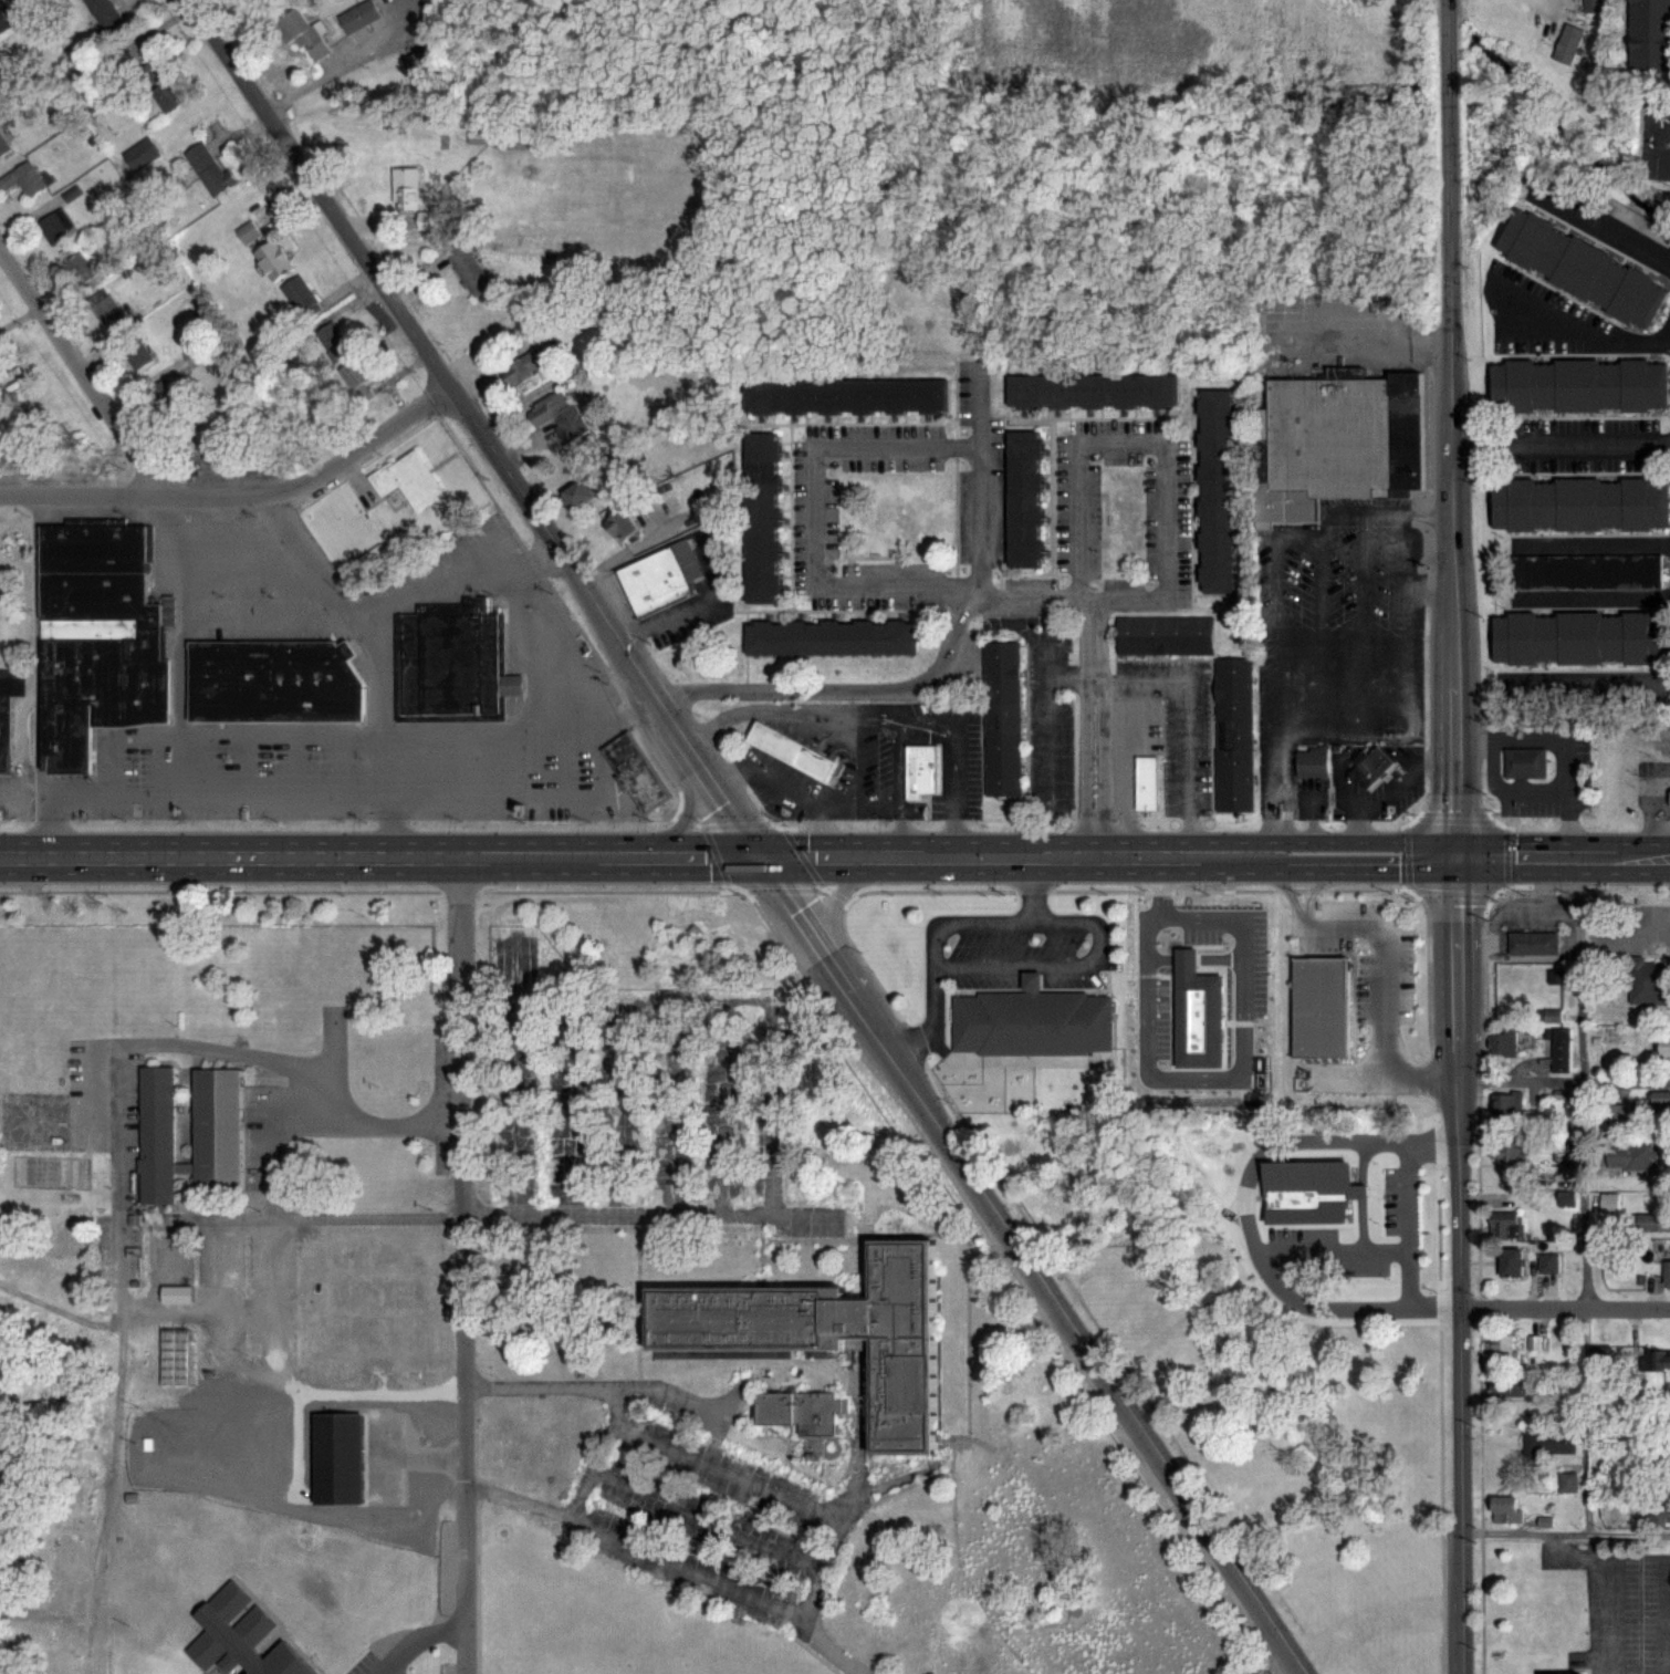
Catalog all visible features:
building: (1595, 6)
building: (100, 13)
building: (359, 17)
building: (3, 22)
building: (304, 33)
building: (1651, 35)
building: (1568, 44)
building: (421, 63)
road: (319, 81)
building: (171, 97)
building: (4, 144)
building: (211, 171)
building: (24, 180)
building: (411, 197)
road: (1449, 220)
building: (56, 227)
road: (1605, 230)
road: (359, 258)
building: (274, 261)
building: (1580, 267)
building: (470, 270)
building: (84, 271)
building: (302, 299)
building: (108, 311)
road: (1578, 325)
building: (334, 341)
road: (1379, 344)
building: (137, 355)
road: (81, 374)
building: (356, 375)
building: (1578, 385)
building: (1092, 389)
building: (167, 395)
building: (846, 395)
building: (560, 416)
building: (1336, 440)
road: (1561, 441)
road: (316, 475)
building: (406, 478)
building: (1217, 490)
building: (583, 495)
road: (81, 496)
building: (1022, 498)
building: (1578, 502)
road: (1429, 512)
building: (761, 517)
building: (623, 527)
road: (1595, 543)
road: (1408, 549)
road: (525, 561)
building: (1585, 570)
road: (1430, 576)
building: (659, 578)
road: (1430, 593)
road: (1593, 594)
road: (1026, 595)
road: (1088, 595)
road: (1276, 600)
road: (691, 604)
road: (1409, 615)
building: (1165, 634)
building: (1578, 637)
building: (96, 638)
building: (831, 638)
road: (178, 647)
road: (1343, 647)
road: (1452, 649)
road: (374, 659)
road: (938, 661)
building: (450, 662)
road: (1090, 677)
road: (36, 679)
building: (273, 680)
road: (1591, 682)
road: (791, 708)
road: (1045, 709)
building: (8, 710)
road: (618, 713)
road: (1562, 714)
building: (1001, 717)
road: (923, 724)
road: (1187, 725)
building: (1233, 734)
road: (314, 736)
road: (1561, 746)
building: (791, 750)
building: (1312, 761)
building: (1523, 761)
building: (1370, 765)
building: (920, 769)
building: (634, 771)
road: (856, 774)
building: (1146, 782)
road: (792, 788)
road: (1502, 791)
building: (1669, 798)
road: (528, 799)
road: (1309, 801)
road: (877, 808)
road: (1286, 814)
road: (1653, 815)
road: (1265, 824)
road: (1355, 839)
road: (1092, 857)
road: (1179, 857)
traffic signals: (1455, 857)
road: (1563, 857)
road: (992, 859)
road: (1056, 859)
road: (477, 861)
traffic signals: (760, 861)
road: (1354, 870)
road: (1031, 890)
road: (1312, 891)
road: (1288, 892)
road: (1170, 914)
road: (1084, 921)
building: (1532, 942)
road: (943, 965)
building: (1645, 980)
road: (1382, 996)
building: (1321, 1007)
building: (1031, 1020)
road: (932, 1022)
building: (1504, 1042)
building: (1664, 1044)
road: (213, 1049)
building: (1559, 1050)
road: (1563, 1081)
road: (915, 1095)
building: (1507, 1106)
building: (217, 1115)
building: (1617, 1115)
building: (1512, 1152)
building: (1629, 1157)
building: (1308, 1192)
road: (1583, 1195)
building: (1609, 1203)
road: (646, 1214)
road: (1243, 1214)
building: (1652, 1221)
road: (1405, 1224)
building: (1506, 1225)
road: (1329, 1251)
building: (1512, 1261)
building: (1548, 1262)
road: (1457, 1265)
road: (462, 1267)
building: (1666, 1273)
building: (177, 1293)
road: (1564, 1307)
building: (827, 1332)
building: (1534, 1342)
building: (1502, 1348)
building: (1601, 1354)
building: (1657, 1358)
road: (589, 1386)
building: (1509, 1387)
road: (613, 1404)
building: (801, 1410)
building: (1549, 1442)
road: (723, 1467)
building: (1507, 1508)
building: (1657, 1514)
road: (1564, 1532)
road: (669, 1566)
road: (1606, 1587)
building: (240, 1635)
road: (418, 1640)
road: (1284, 1668)
building: (1561, 1671)

